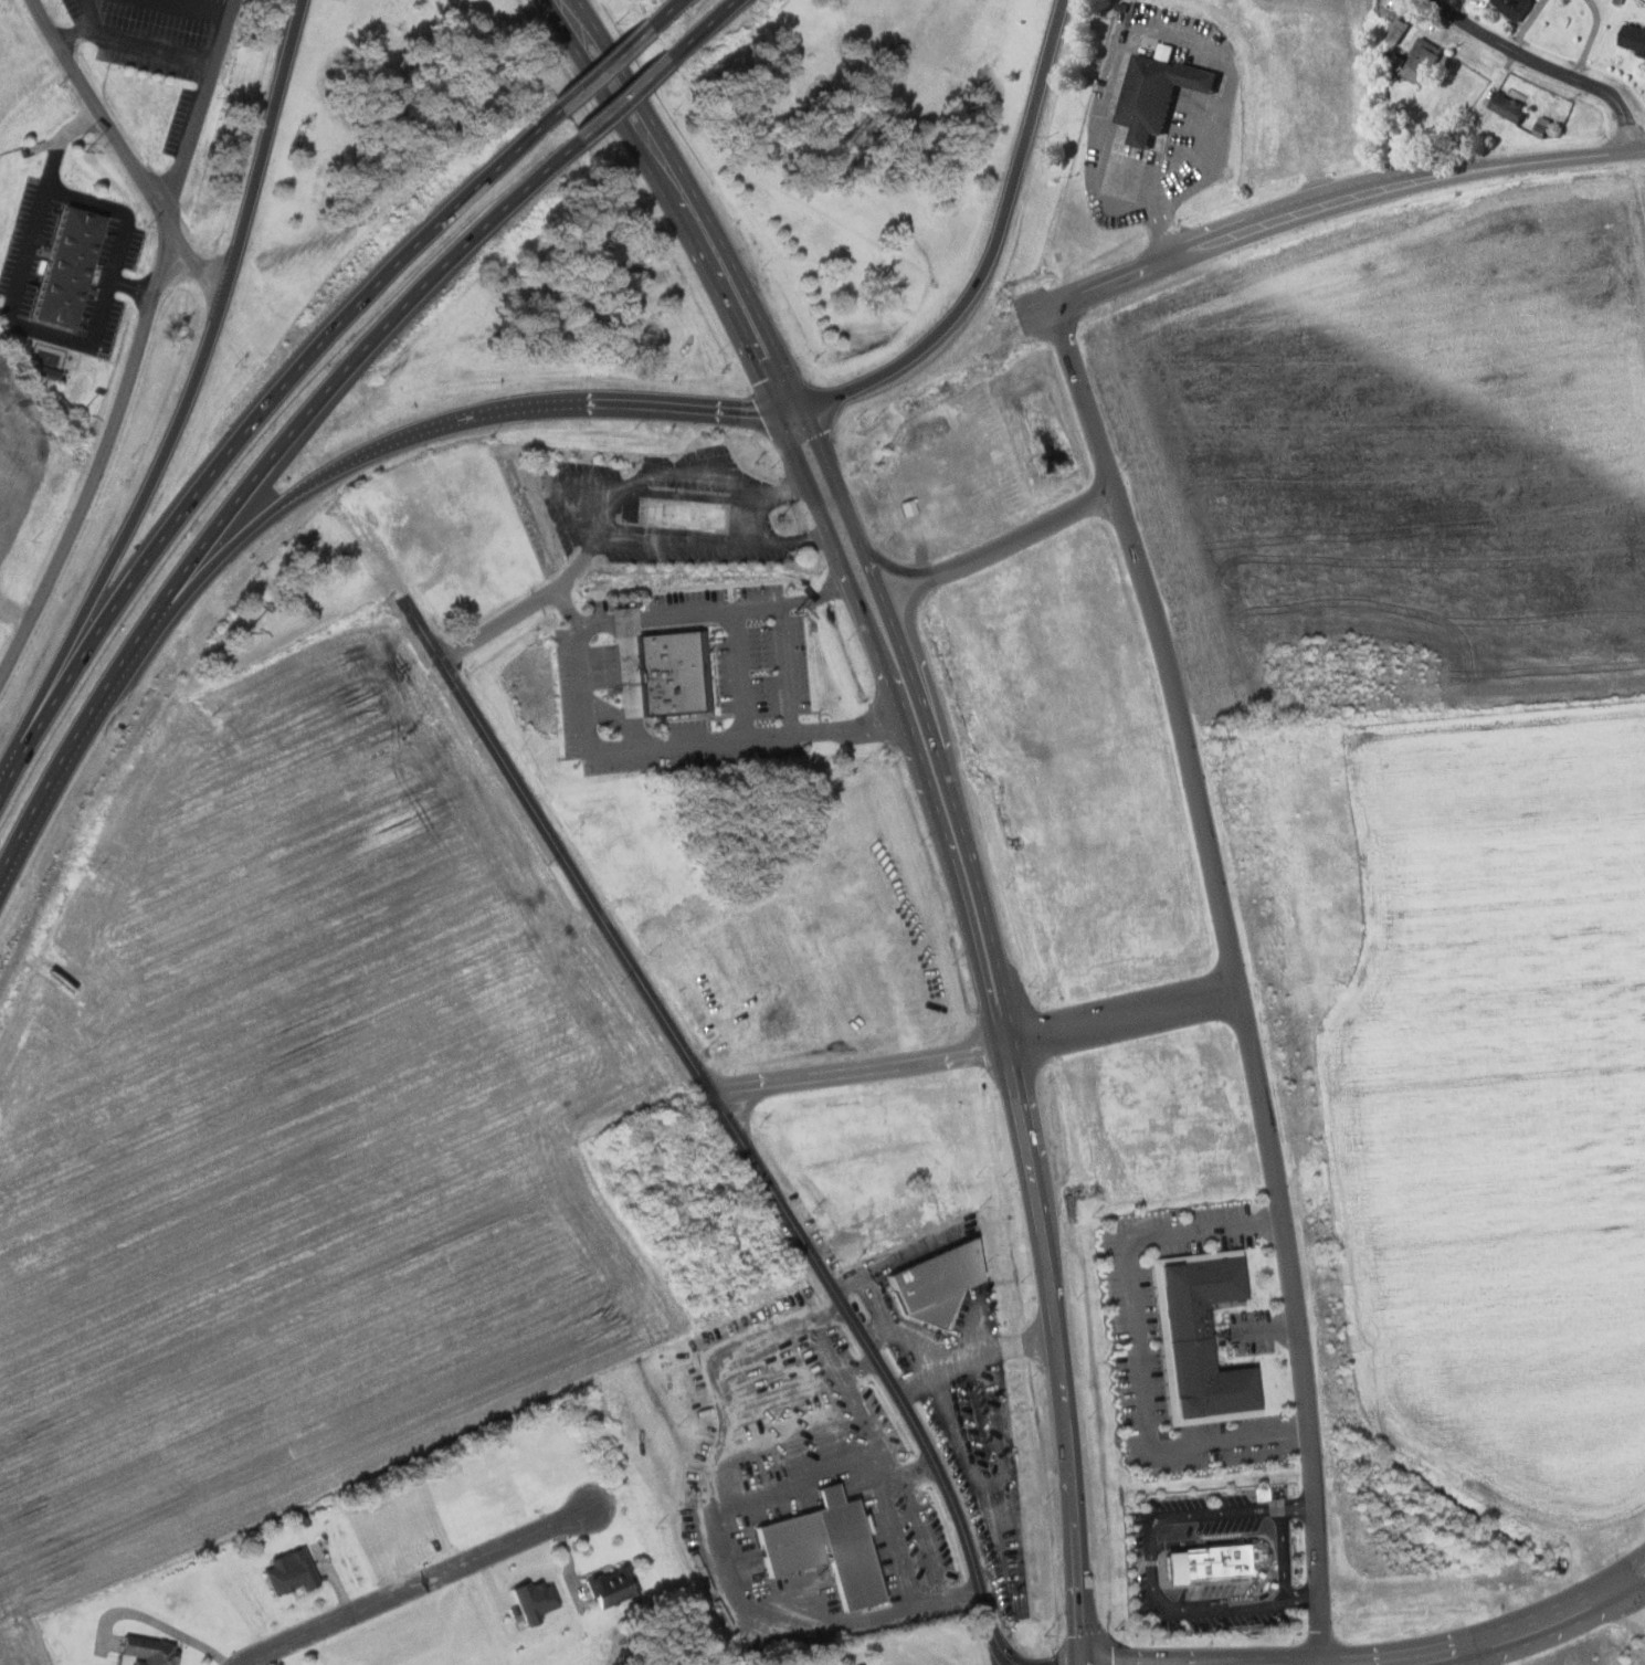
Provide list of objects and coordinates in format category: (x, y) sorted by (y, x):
road: (673, 7)
building: (1518, 8)
road: (709, 23)
parking lot: (168, 28)
road: (1173, 29)
road: (84, 31)
road: (150, 36)
building: (1636, 39)
road: (612, 53)
road: (612, 62)
building: (1422, 64)
road: (1543, 67)
building: (1161, 92)
road: (635, 93)
road: (202, 104)
building: (1514, 108)
parking lot: (186, 122)
road: (263, 148)
road: (127, 150)
road: (1636, 190)
road: (1341, 199)
road: (92, 202)
road: (672, 209)
road: (994, 243)
road: (730, 261)
building: (62, 266)
road: (324, 391)
traffic signals: (801, 405)
road: (698, 408)
traffic signals: (774, 410)
road: (255, 414)
road: (101, 465)
road: (829, 471)
road: (310, 482)
road: (806, 483)
building: (692, 515)
road: (1025, 533)
road: (124, 535)
road: (885, 562)
road: (819, 598)
road: (527, 604)
road: (742, 610)
road: (893, 626)
road: (908, 629)
road: (871, 636)
building: (676, 673)
road: (739, 675)
road: (630, 684)
road: (672, 745)
road: (4, 776)
road: (52, 781)
road: (968, 888)
road: (1233, 976)
road: (1122, 1022)
road: (860, 1069)
road: (732, 1123)
building: (940, 1283)
road: (1270, 1331)
road: (818, 1337)
building: (1202, 1337)
road: (1137, 1345)
road: (1058, 1355)
road: (855, 1410)
road: (1298, 1506)
building: (830, 1547)
road: (895, 1549)
road: (1286, 1555)
building: (1202, 1563)
road: (1151, 1567)
road: (1627, 1568)
building: (293, 1572)
road: (1631, 1584)
building: (613, 1585)
road: (419, 1587)
building: (531, 1601)
road: (1305, 1601)
road: (1631, 1609)
road: (1501, 1638)
building: (146, 1653)
road: (1474, 1656)

